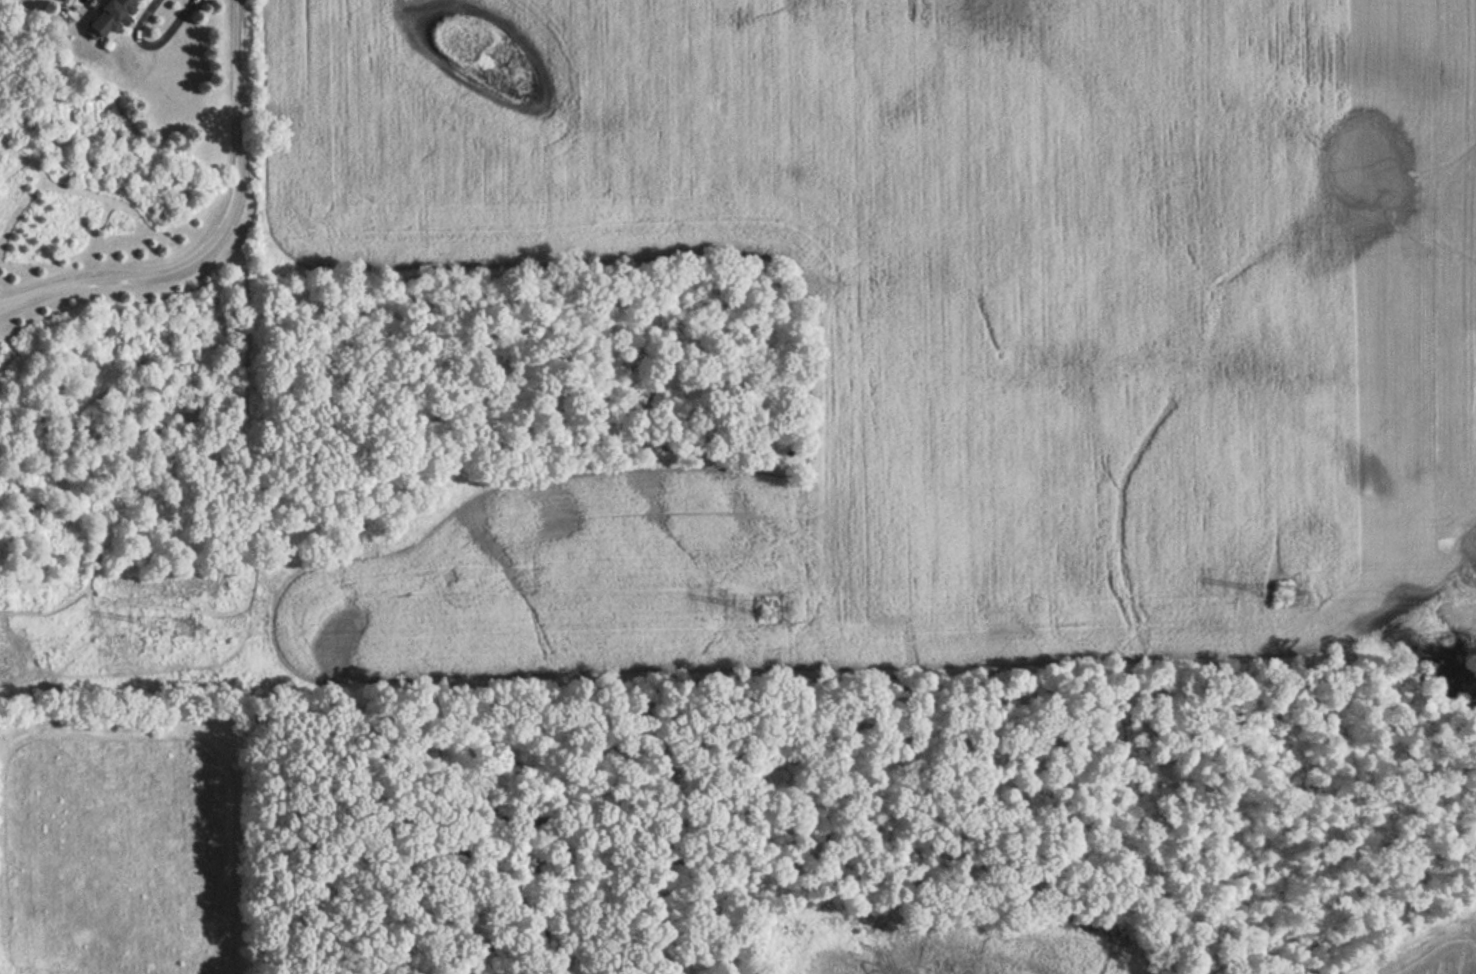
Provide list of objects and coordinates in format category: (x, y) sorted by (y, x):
building: (106, 18)
road: (154, 38)
road: (220, 237)
power tower: (1273, 592)
power tower: (754, 607)
power tower: (166, 625)

